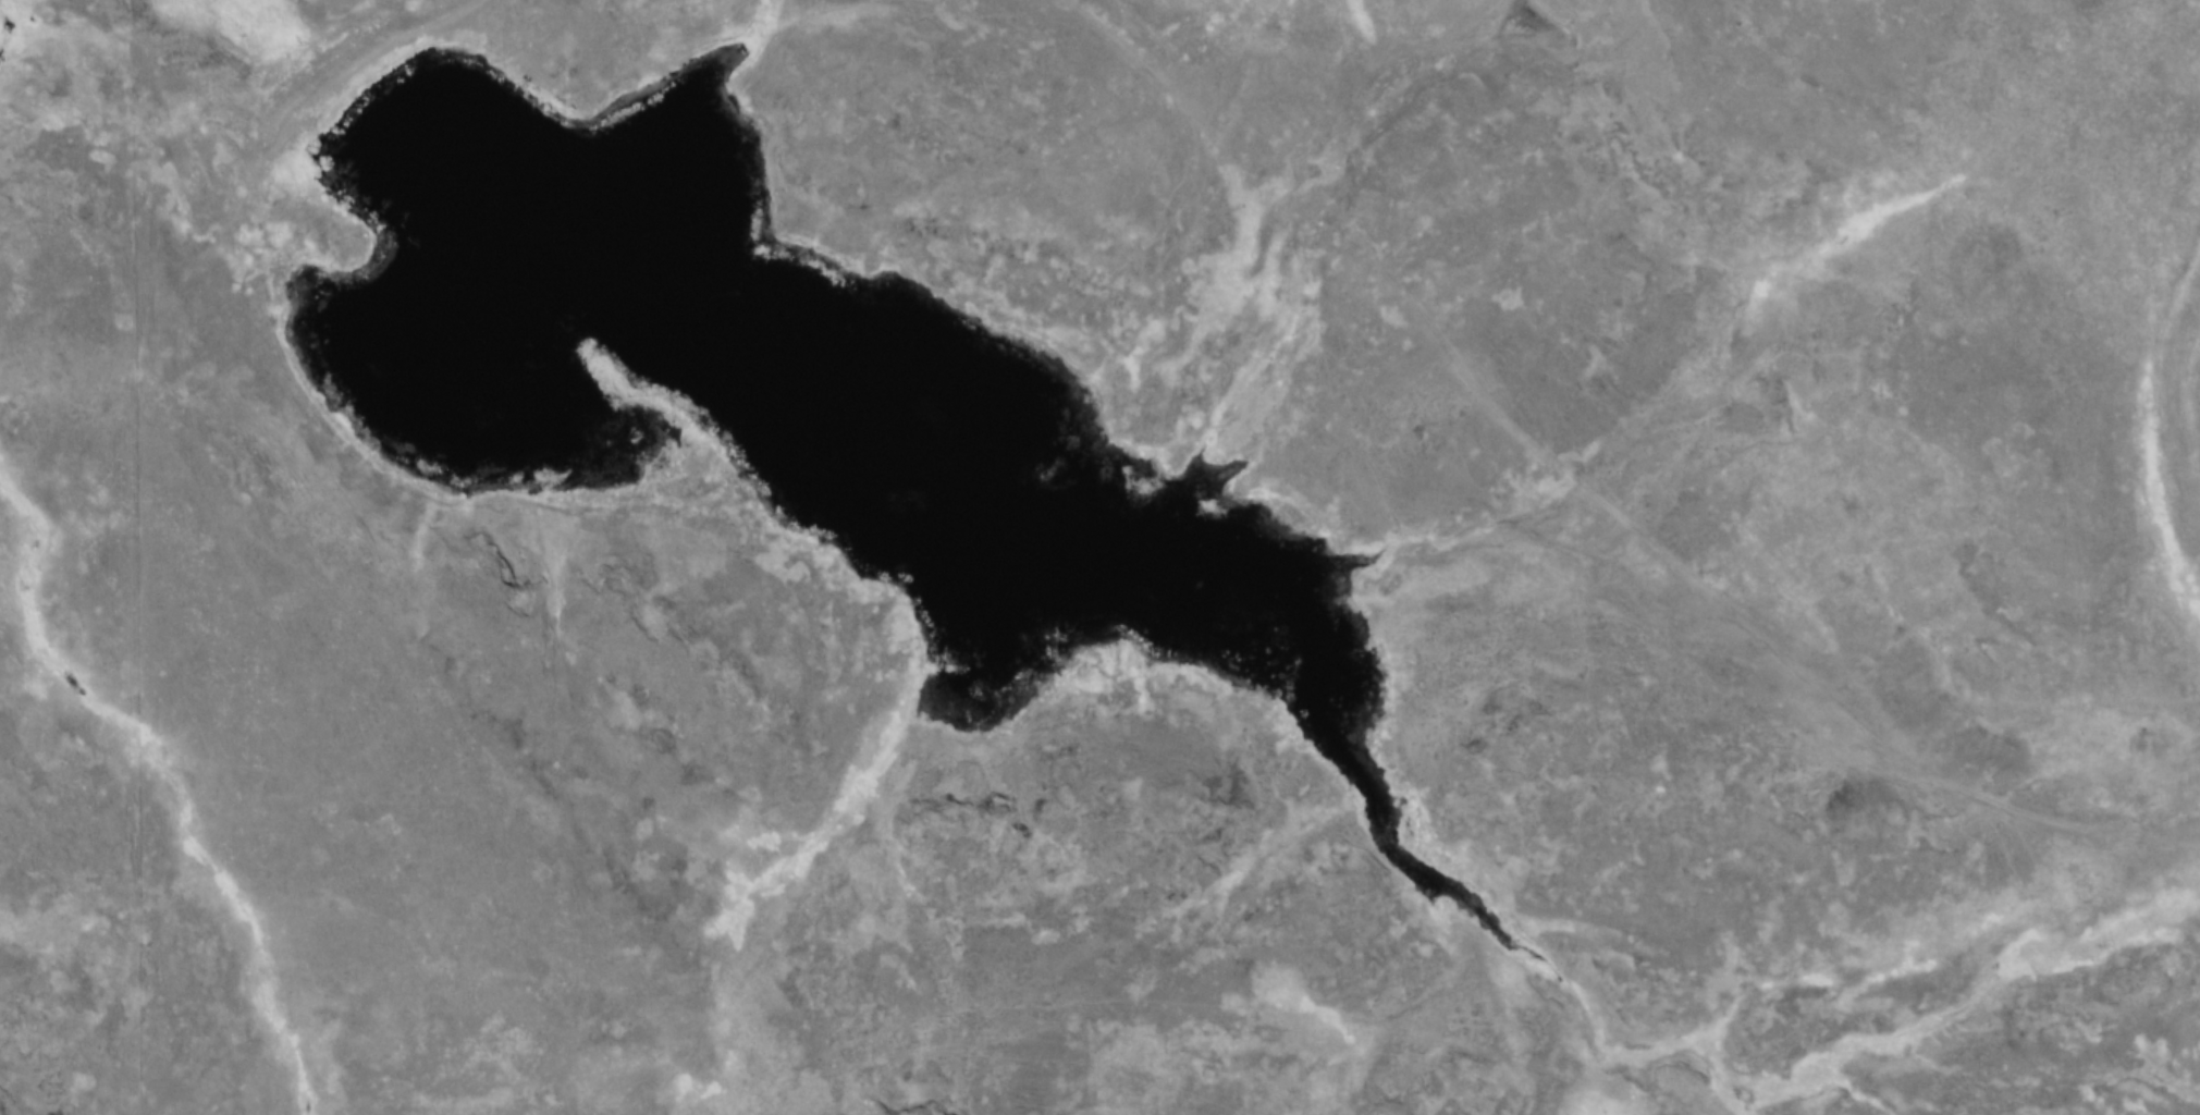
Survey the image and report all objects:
dam: (345, 62)

